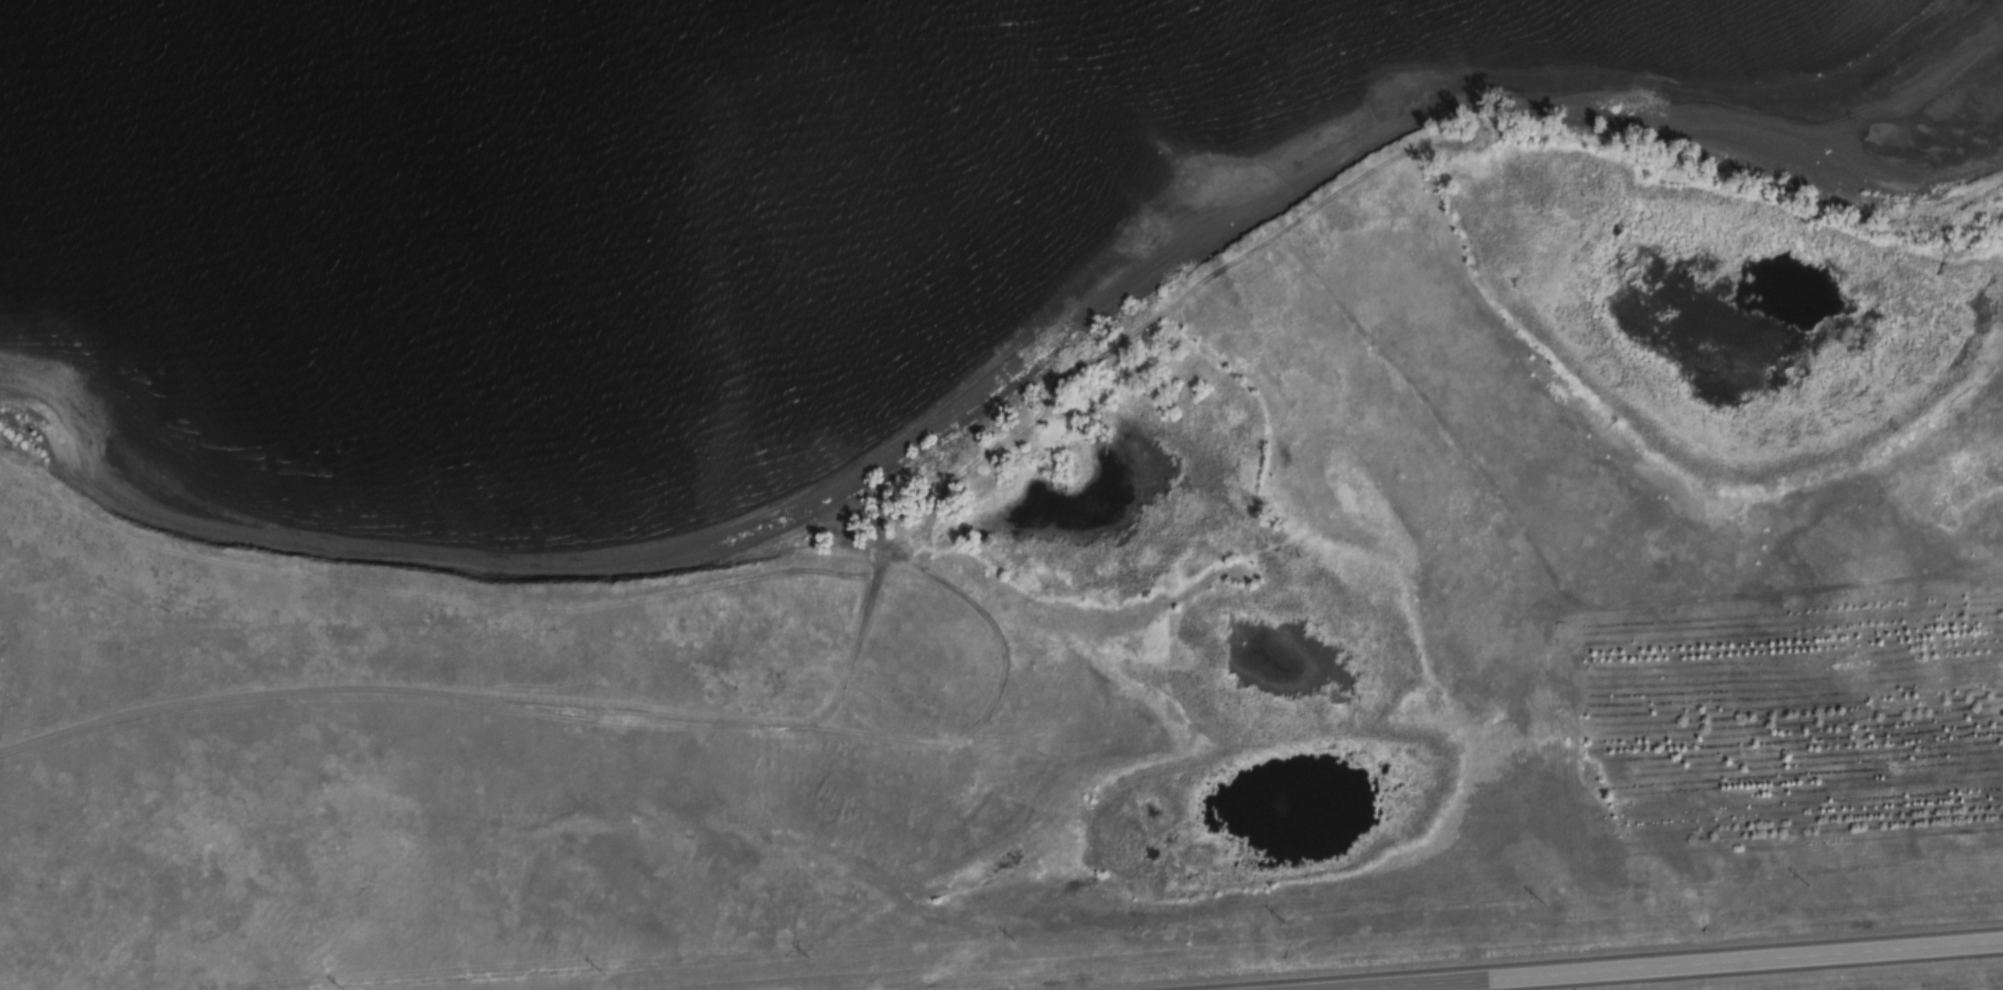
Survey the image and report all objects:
road: (1685, 966)
road: (1438, 987)

